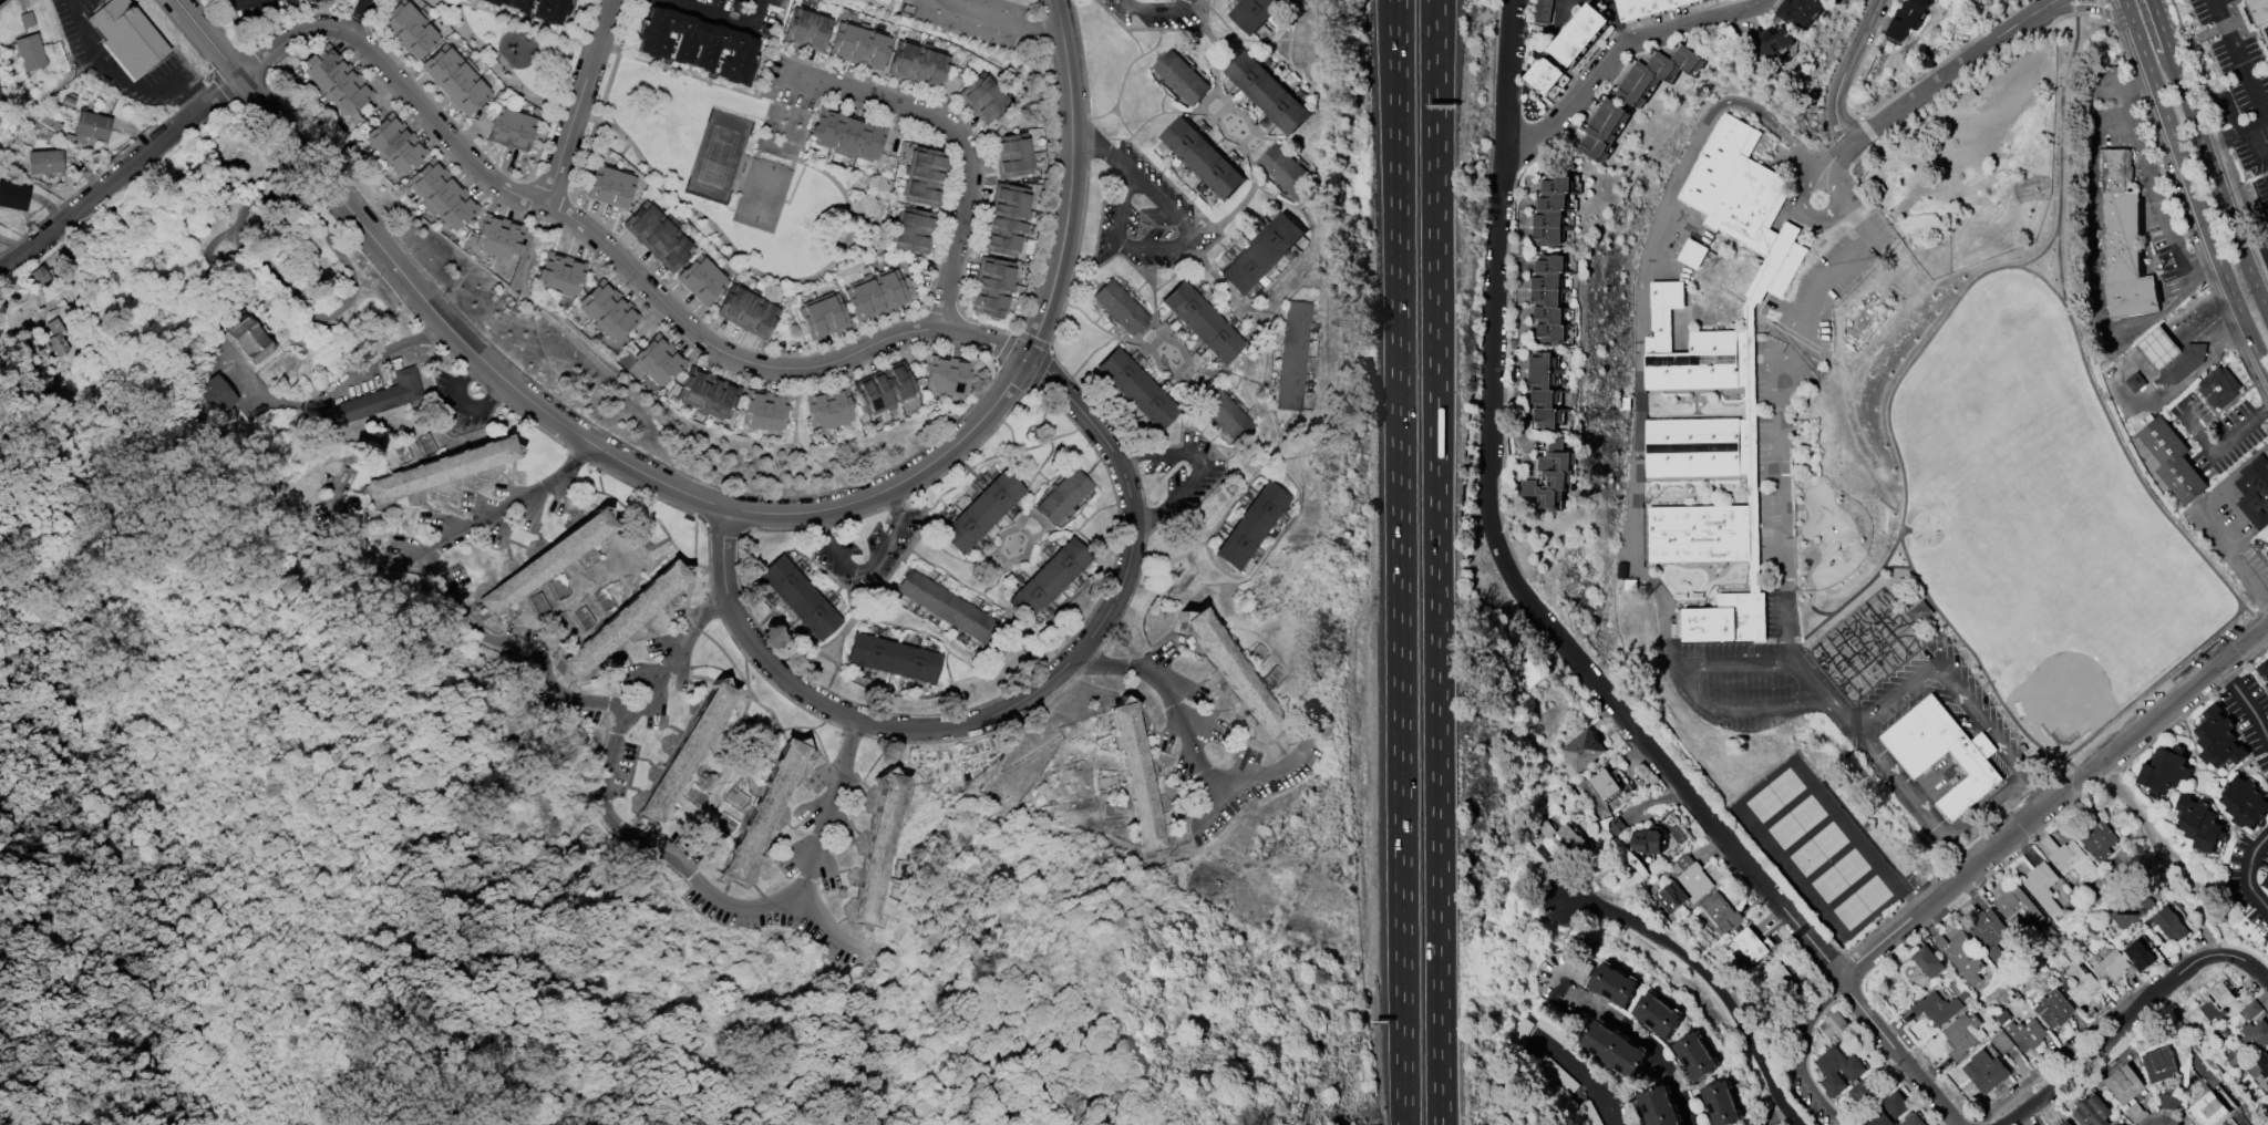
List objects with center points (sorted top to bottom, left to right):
road: (238, 1)
road: (1061, 1)
building: (494, 2)
road: (2044, 4)
building: (518, 6)
road: (1155, 7)
building: (1645, 7)
road: (2085, 7)
building: (1545, 10)
building: (1798, 10)
building: (548, 11)
parking lot: (1152, 11)
road: (1121, 12)
building: (1254, 12)
road: (357, 16)
road: (723, 16)
building: (1906, 18)
building: (2259, 18)
road: (996, 20)
road: (1617, 20)
road: (218, 25)
building: (408, 29)
building: (806, 29)
road: (1158, 29)
road: (1433, 29)
road: (1436, 29)
building: (1579, 33)
road: (183, 34)
building: (127, 37)
building: (1771, 39)
road: (1134, 40)
road: (2166, 41)
building: (697, 44)
building: (858, 45)
road: (1618, 49)
building: (29, 52)
road: (255, 60)
building: (917, 63)
road: (248, 69)
road: (1847, 72)
building: (1656, 73)
road: (1506, 74)
building: (1545, 74)
road: (1945, 74)
road: (116, 75)
road: (172, 76)
building: (1181, 76)
building: (455, 79)
building: (336, 80)
road: (231, 81)
road: (1121, 84)
road: (226, 90)
road: (2254, 91)
building: (1266, 92)
building: (982, 97)
building: (0, 99)
road: (577, 103)
road: (2267, 117)
building: (91, 125)
building: (511, 127)
building: (1602, 128)
road: (2217, 132)
road: (2262, 133)
building: (846, 134)
road: (958, 142)
building: (395, 144)
road: (1852, 149)
road: (1102, 152)
building: (1011, 155)
building: (1202, 157)
building: (44, 162)
building: (1286, 172)
road: (1070, 173)
building: (924, 177)
road: (114, 179)
building: (1557, 183)
road: (2152, 185)
building: (610, 186)
road: (2192, 187)
building: (441, 195)
building: (13, 196)
road: (2221, 198)
building: (1553, 200)
building: (1744, 202)
road: (332, 215)
road: (529, 215)
building: (1548, 217)
building: (1004, 219)
building: (913, 230)
building: (658, 235)
building: (1548, 235)
building: (498, 236)
building: (2124, 244)
road: (1167, 247)
road: (610, 251)
building: (1260, 252)
building: (1692, 252)
building: (1550, 262)
road: (2258, 265)
building: (560, 273)
building: (38, 275)
building: (701, 278)
building: (1547, 280)
building: (991, 287)
building: (875, 293)
building: (1546, 297)
road: (2065, 299)
road: (301, 305)
road: (1636, 306)
building: (1120, 308)
building: (607, 310)
building: (746, 311)
building: (1548, 314)
building: (822, 316)
building: (1202, 322)
road: (1936, 326)
road: (1014, 332)
building: (1551, 332)
road: (431, 333)
building: (58, 337)
building: (247, 337)
building: (1690, 348)
road: (1493, 349)
building: (2156, 349)
road: (384, 350)
road: (1050, 350)
road: (452, 355)
road: (1016, 355)
building: (1293, 355)
building: (658, 360)
track: (2030, 362)
road: (598, 363)
road: (1033, 364)
building: (2181, 367)
building: (1543, 370)
road: (1039, 371)
road: (470, 372)
building: (947, 375)
road: (482, 383)
building: (2135, 383)
building: (884, 388)
building: (1136, 389)
building: (2218, 389)
building: (708, 393)
building: (216, 394)
road: (496, 395)
road: (2121, 395)
building: (1546, 396)
building: (373, 401)
road: (466, 405)
building: (827, 407)
building: (763, 411)
building: (1227, 415)
building: (1548, 415)
road: (556, 420)
road: (587, 421)
road: (536, 426)
road: (1775, 429)
road: (796, 441)
road: (2223, 443)
building: (1697, 446)
road: (971, 450)
road: (577, 455)
building: (2171, 462)
road: (1204, 468)
building: (440, 469)
building: (1553, 474)
road: (2141, 479)
road: (647, 493)
building: (2254, 493)
building: (1063, 496)
road: (893, 504)
park: (1969, 509)
building: (981, 512)
road: (2204, 515)
road: (723, 517)
road: (856, 518)
building: (1251, 526)
road: (822, 527)
road: (724, 528)
road: (777, 530)
building: (1699, 533)
road: (1899, 537)
road: (451, 541)
building: (2260, 545)
building: (544, 562)
road: (1399, 562)
road: (868, 565)
building: (1049, 579)
road: (1437, 591)
building: (800, 598)
building: (947, 606)
building: (1919, 611)
building: (625, 618)
building: (1726, 618)
park: (1888, 630)
park: (2064, 644)
road: (520, 649)
park: (1837, 649)
building: (893, 658)
road: (1934, 660)
road: (1978, 661)
road: (666, 665)
building: (2262, 668)
building: (1234, 672)
building: (1528, 672)
park: (1860, 677)
road: (2152, 683)
building: (2267, 683)
road: (1685, 688)
road: (2235, 688)
road: (2266, 691)
road: (1012, 709)
road: (1179, 713)
road: (2254, 714)
building: (2218, 737)
building: (1580, 750)
building: (685, 752)
building: (1942, 753)
road: (1841, 760)
road: (1666, 764)
building: (2164, 770)
road: (1264, 772)
building: (1135, 776)
road: (2078, 777)
building: (1602, 784)
road: (631, 794)
park: (1775, 796)
road: (2025, 796)
building: (2244, 801)
building: (762, 811)
road: (2135, 812)
park: (1796, 823)
building: (2199, 823)
building: (1615, 825)
building: (1545, 827)
road: (823, 829)
building: (1570, 837)
building: (1646, 838)
building: (2096, 838)
road: (1872, 840)
building: (878, 847)
park: (1818, 850)
building: (2070, 858)
road: (2248, 871)
park: (1839, 876)
building: (855, 877)
road: (702, 881)
building: (2265, 881)
building: (1683, 883)
building: (2041, 886)
park: (1862, 901)
road: (2204, 905)
building: (2017, 906)
building: (1718, 910)
building: (2130, 910)
building: (2169, 923)
building: (1989, 932)
building: (1749, 943)
building: (2140, 953)
road: (1863, 954)
building: (1960, 954)
building: (1927, 960)
road: (2246, 960)
building: (2110, 966)
road: (1698, 969)
building: (1773, 972)
building: (2076, 979)
building: (1612, 983)
road: (1804, 999)
building: (2216, 1001)
building: (1939, 1005)
building: (2053, 1008)
building: (1657, 1014)
road: (841, 1020)
building: (1836, 1026)
building: (1554, 1029)
building: (1520, 1032)
building: (1961, 1033)
building: (2024, 1033)
building: (2255, 1034)
road: (2112, 1035)
road: (1642, 1038)
building: (2000, 1041)
road: (2070, 1042)
building: (1614, 1049)
road: (1900, 1051)
road: (1798, 1052)
building: (1694, 1055)
building: (2261, 1063)
building: (2159, 1064)
building: (1984, 1070)
building: (1556, 1073)
building: (1854, 1073)
road: (1583, 1080)
building: (2267, 1082)
building: (2124, 1083)
building: (1862, 1091)
building: (2171, 1101)
building: (1720, 1103)
building: (1896, 1103)
building: (1659, 1106)
building: (2207, 1109)
road: (1775, 1111)
road: (1795, 1111)
building: (2092, 1111)
building: (2135, 1112)
building: (1588, 1113)
building: (1878, 1118)
building: (1913, 1118)
building: (2065, 1122)
building: (2120, 1124)

